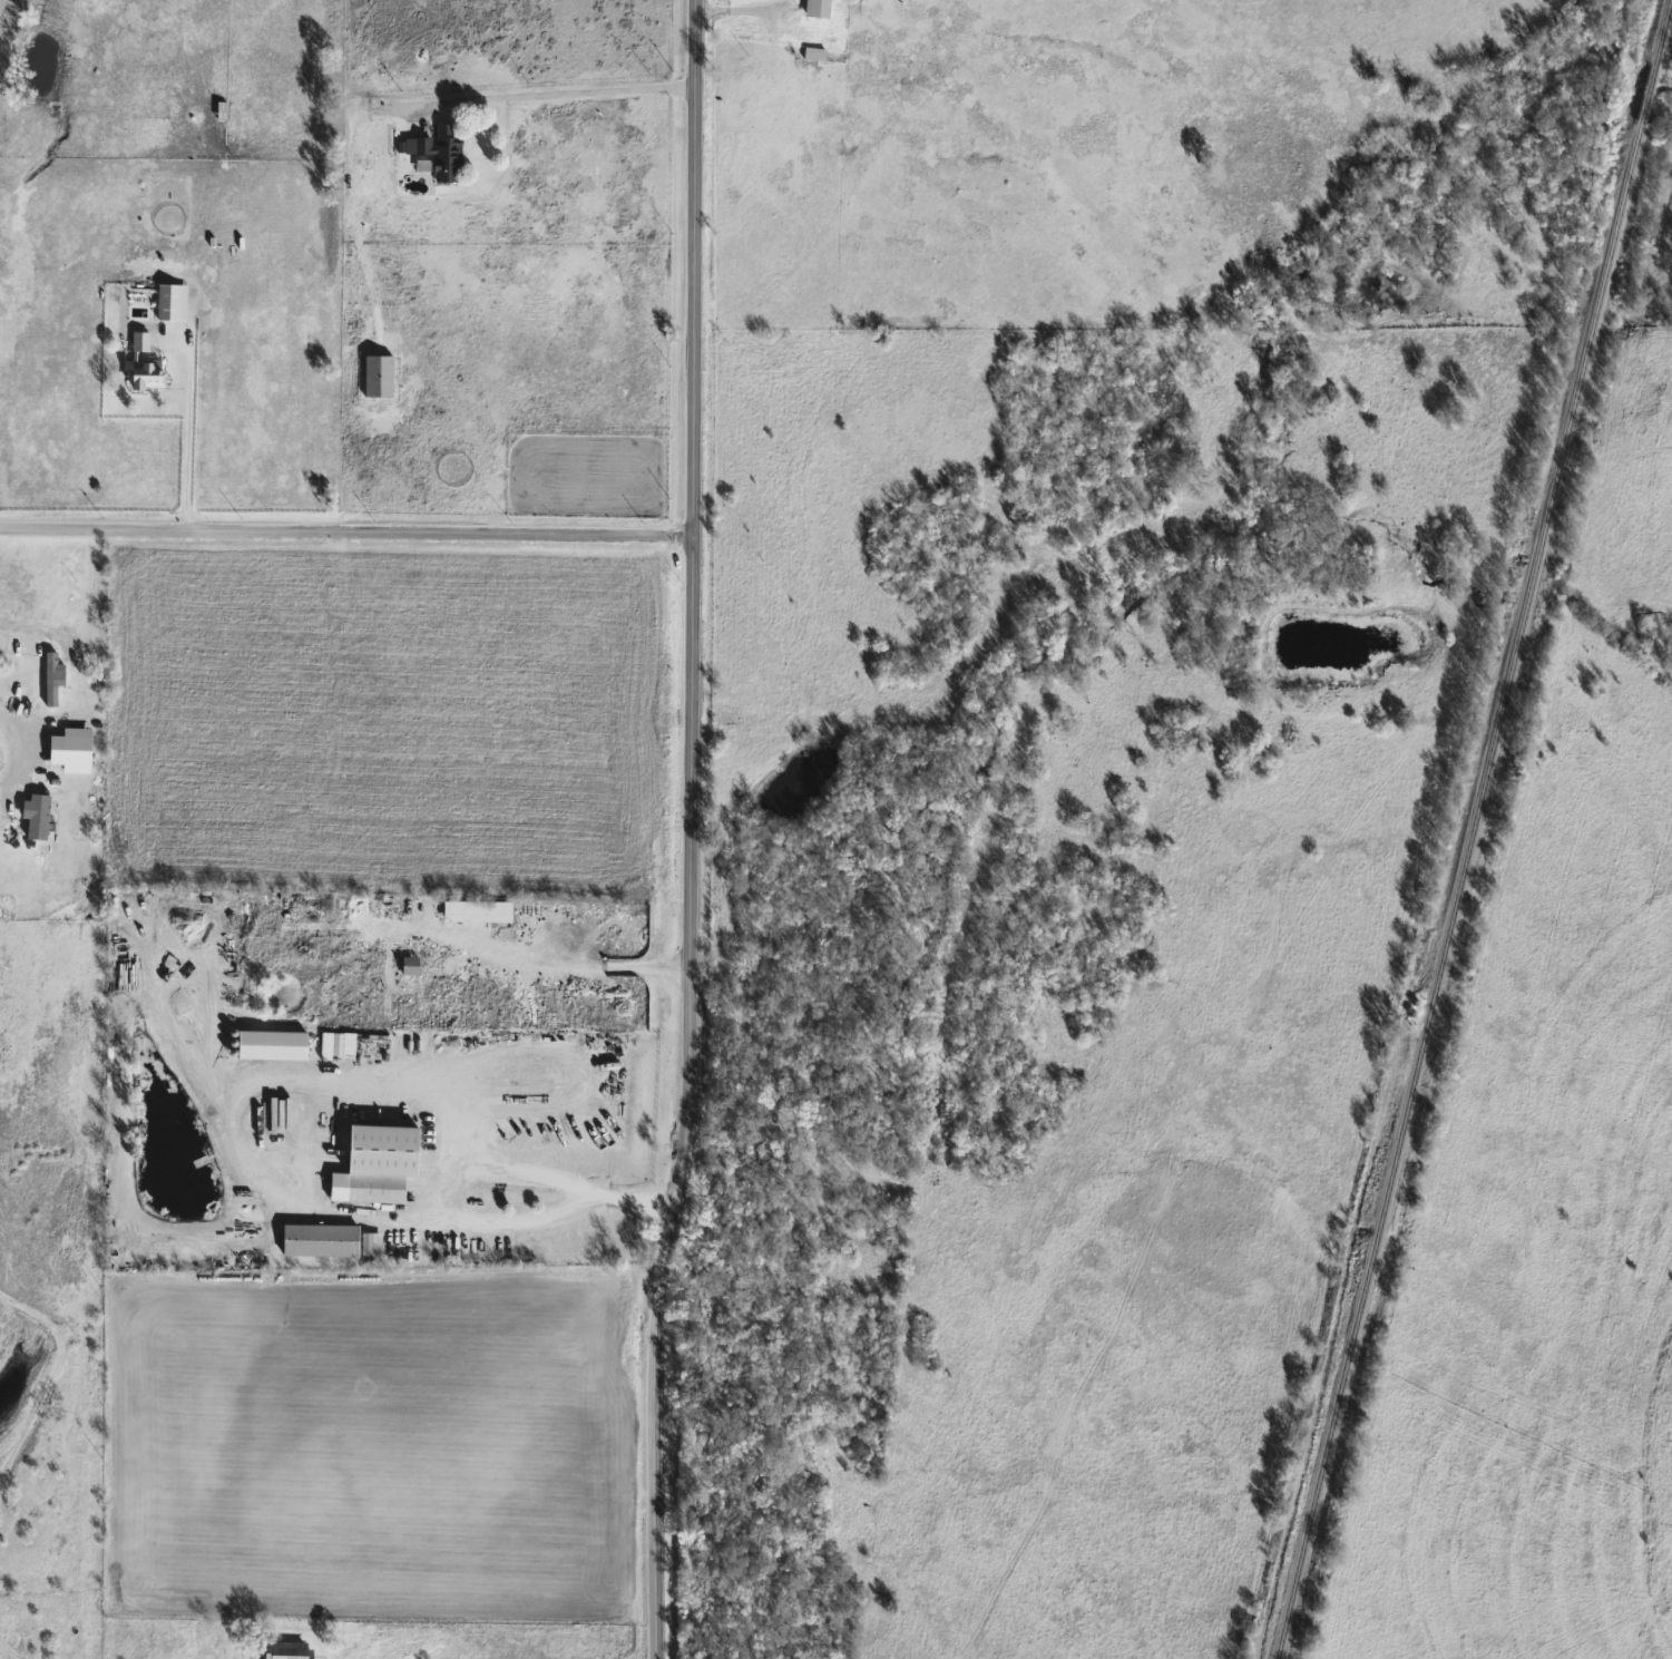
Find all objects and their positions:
building: (815, 9)
railway: (1662, 33)
building: (812, 55)
railway: (1647, 95)
road: (563, 98)
building: (440, 155)
building: (421, 168)
building: (169, 303)
building: (139, 342)
building: (145, 374)
building: (377, 377)
road: (186, 438)
road: (344, 531)
building: (49, 677)
building: (35, 816)
road: (684, 830)
railway: (1459, 890)
building: (476, 911)
building: (408, 966)
road: (576, 968)
road: (244, 1163)
road: (529, 1172)
building: (371, 1183)
building: (317, 1241)
building: (285, 1651)

